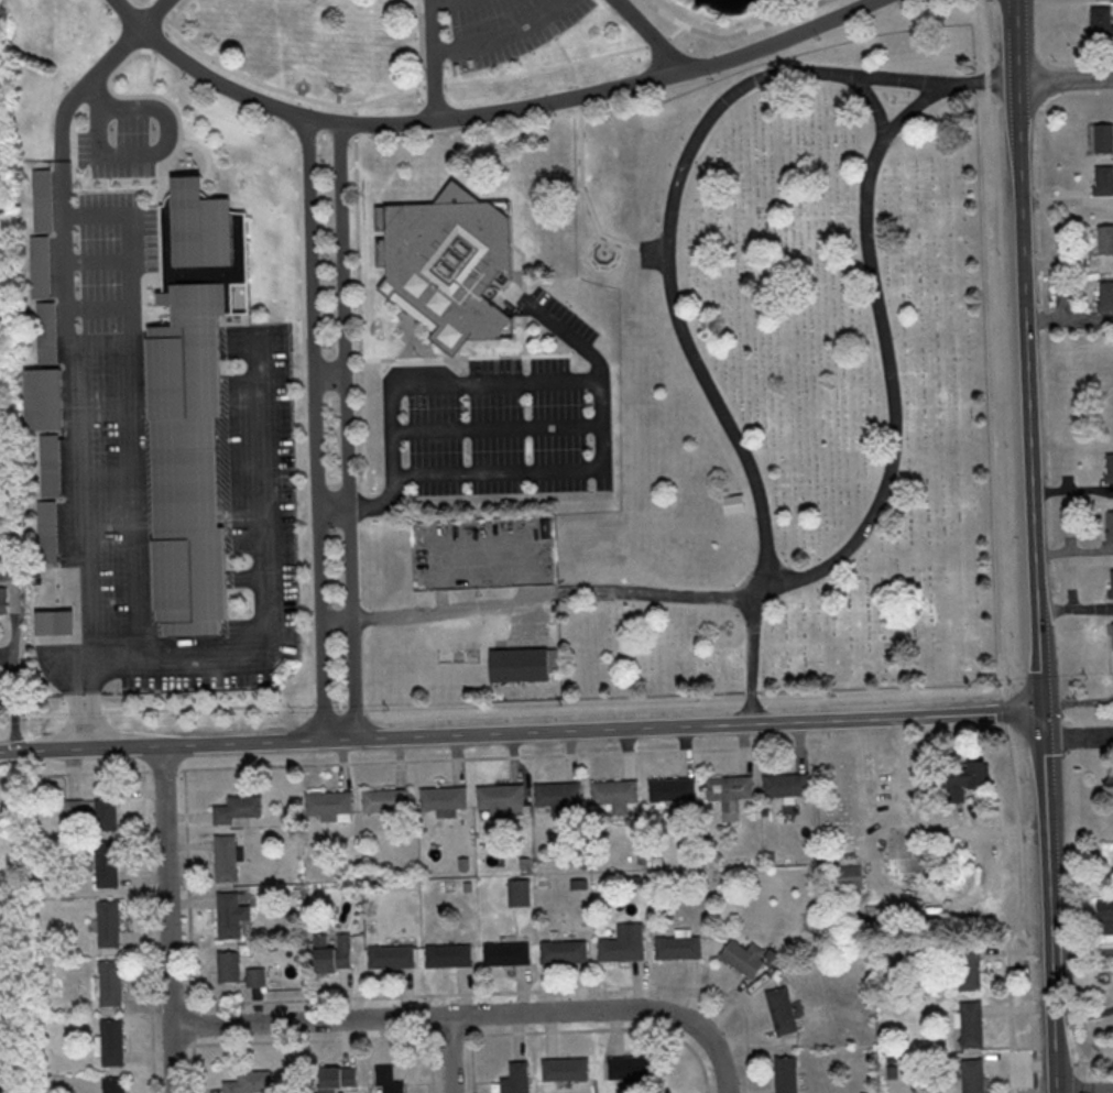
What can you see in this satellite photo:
building: (318, 1)
road: (445, 1)
road: (175, 11)
road: (160, 12)
building: (1102, 21)
parking lot: (495, 28)
road: (501, 32)
road: (740, 33)
road: (657, 34)
road: (164, 36)
road: (427, 43)
road: (437, 59)
road: (561, 64)
road: (1066, 77)
road: (293, 91)
road: (874, 107)
road: (493, 111)
road: (185, 125)
road: (301, 135)
building: (1104, 138)
road: (587, 151)
road: (146, 153)
building: (1104, 181)
building: (45, 201)
building: (1105, 239)
parking lot: (654, 254)
building: (449, 266)
building: (42, 267)
road: (670, 294)
building: (1106, 296)
building: (48, 334)
road: (531, 335)
road: (365, 336)
road: (419, 340)
road: (413, 350)
road: (72, 370)
road: (332, 371)
road: (457, 381)
building: (46, 396)
building: (195, 405)
road: (134, 408)
park: (755, 414)
road: (312, 422)
road: (321, 426)
road: (502, 427)
road: (346, 428)
parking lot: (506, 429)
road: (369, 445)
building: (52, 466)
building: (1109, 467)
road: (559, 468)
road: (342, 479)
building: (736, 505)
road: (336, 506)
building: (1111, 524)
road: (863, 532)
building: (50, 533)
road: (1039, 546)
building: (10, 569)
road: (270, 579)
building: (1112, 583)
building: (3, 600)
building: (57, 621)
building: (525, 666)
road: (176, 709)
traffic signals: (1051, 709)
road: (525, 731)
road: (1082, 734)
building: (788, 785)
building: (1111, 785)
building: (673, 789)
building: (730, 794)
building: (616, 795)
building: (558, 796)
building: (445, 798)
building: (502, 799)
building: (386, 800)
building: (329, 804)
building: (239, 808)
building: (74, 809)
building: (106, 813)
road: (928, 828)
building: (227, 856)
building: (912, 857)
building: (107, 863)
building: (850, 876)
building: (521, 893)
building: (231, 915)
road: (168, 919)
building: (109, 923)
building: (625, 943)
building: (679, 947)
road: (1085, 949)
building: (334, 951)
building: (566, 951)
building: (508, 952)
building: (392, 955)
building: (449, 955)
building: (229, 965)
building: (970, 965)
building: (257, 976)
building: (110, 983)
building: (783, 1010)
road: (472, 1013)
road: (1087, 1014)
building: (972, 1024)
building: (112, 1041)
road: (450, 1053)
building: (633, 1068)
building: (567, 1069)
building: (788, 1074)
building: (973, 1075)
building: (340, 1076)
building: (517, 1078)
building: (390, 1080)
building: (250, 1082)
building: (114, 1084)
road: (1088, 1087)

